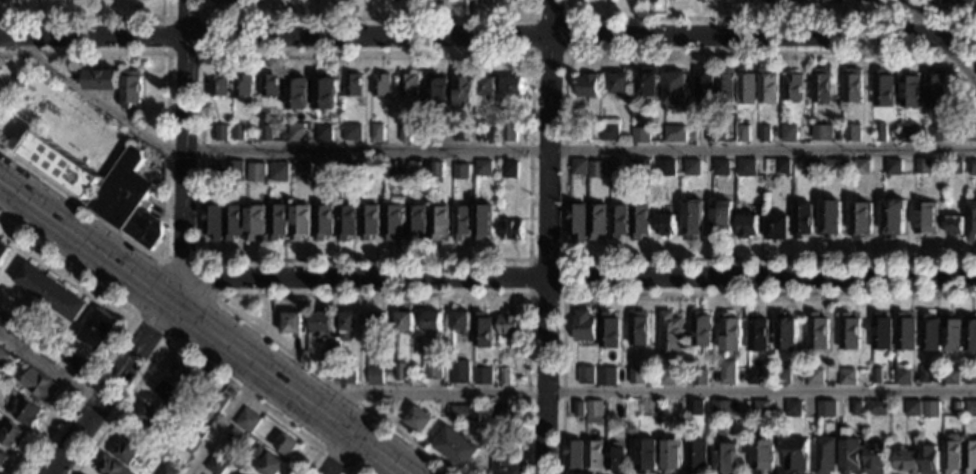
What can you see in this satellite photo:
building: (2, 0)
building: (215, 0)
building: (702, 0)
building: (766, 0)
building: (801, 0)
building: (870, 0)
building: (347, 1)
building: (828, 1)
building: (933, 6)
building: (963, 6)
road: (762, 16)
road: (92, 17)
road: (366, 18)
road: (488, 35)
road: (944, 37)
road: (566, 50)
road: (531, 51)
road: (201, 53)
building: (103, 79)
building: (648, 83)
building: (219, 84)
building: (354, 84)
building: (382, 84)
building: (620, 84)
building: (703, 84)
building: (725, 84)
building: (243, 85)
building: (271, 85)
building: (410, 85)
building: (587, 86)
building: (821, 86)
building: (852, 86)
building: (487, 87)
building: (513, 87)
building: (746, 87)
building: (767, 87)
building: (792, 87)
building: (130, 88)
building: (675, 89)
building: (883, 89)
building: (464, 90)
building: (936, 91)
building: (298, 92)
building: (438, 92)
building: (910, 92)
building: (326, 93)
building: (134, 118)
building: (296, 132)
building: (494, 132)
building: (610, 132)
building: (221, 133)
building: (239, 133)
building: (267, 133)
building: (324, 133)
building: (355, 133)
building: (379, 133)
building: (406, 133)
building: (436, 133)
building: (463, 133)
building: (820, 133)
building: (934, 133)
building: (509, 134)
building: (675, 134)
building: (729, 134)
building: (743, 134)
building: (763, 134)
building: (788, 134)
building: (852, 134)
building: (880, 134)
building: (908, 134)
building: (582, 135)
building: (641, 135)
building: (895, 135)
building: (710, 136)
road: (181, 146)
road: (479, 150)
road: (564, 156)
building: (61, 165)
building: (922, 166)
building: (953, 166)
building: (580, 167)
building: (617, 167)
building: (692, 167)
building: (780, 167)
building: (829, 167)
building: (860, 167)
building: (218, 168)
building: (485, 168)
building: (637, 168)
building: (663, 168)
building: (721, 168)
building: (745, 168)
building: (810, 168)
building: (892, 168)
building: (934, 168)
building: (971, 168)
building: (369, 169)
building: (392, 169)
building: (302, 170)
building: (348, 170)
building: (415, 170)
building: (438, 170)
building: (511, 170)
building: (597, 170)
building: (234, 171)
building: (256, 172)
building: (463, 172)
building: (280, 173)
building: (327, 173)
road: (165, 174)
building: (128, 200)
building: (693, 218)
building: (893, 218)
building: (925, 218)
building: (721, 219)
building: (829, 219)
building: (801, 220)
building: (860, 220)
building: (213, 221)
building: (234, 221)
building: (279, 221)
building: (325, 221)
building: (371, 221)
building: (394, 221)
building: (417, 221)
building: (484, 221)
building: (577, 221)
building: (598, 221)
building: (640, 221)
building: (970, 221)
building: (256, 222)
building: (302, 222)
building: (348, 222)
building: (440, 222)
building: (463, 222)
building: (619, 222)
building: (666, 225)
building: (954, 225)
building: (746, 226)
building: (776, 227)
building: (512, 230)
road: (550, 237)
building: (4, 250)
road: (183, 261)
road: (572, 278)
building: (51, 291)
road: (679, 293)
road: (311, 294)
road: (564, 294)
road: (212, 321)
building: (461, 321)
building: (378, 322)
building: (406, 322)
building: (433, 322)
building: (324, 323)
building: (294, 324)
road: (127, 325)
building: (350, 325)
building: (509, 325)
building: (584, 326)
building: (639, 329)
building: (100, 330)
building: (483, 330)
building: (608, 330)
building: (701, 330)
building: (817, 331)
building: (786, 332)
building: (848, 332)
building: (880, 332)
building: (904, 332)
building: (671, 333)
building: (730, 333)
building: (757, 333)
building: (928, 333)
building: (970, 333)
building: (951, 334)
road: (190, 351)
building: (3, 357)
building: (72, 360)
building: (331, 360)
road: (50, 364)
building: (182, 370)
building: (432, 371)
building: (375, 372)
building: (402, 372)
building: (461, 372)
building: (728, 373)
building: (350, 374)
building: (587, 374)
building: (878, 375)
building: (928, 375)
building: (483, 376)
building: (607, 376)
building: (637, 376)
building: (755, 376)
building: (969, 376)
building: (505, 377)
building: (668, 377)
building: (700, 377)
building: (782, 377)
building: (815, 377)
building: (847, 377)
building: (902, 377)
building: (950, 378)
road: (111, 383)
building: (39, 385)
building: (170, 392)
road: (640, 392)
building: (218, 401)
building: (695, 408)
building: (761, 408)
building: (826, 408)
building: (855, 408)
building: (876, 408)
building: (970, 408)
building: (579, 409)
building: (793, 409)
building: (912, 409)
building: (956, 409)
building: (721, 410)
building: (930, 410)
building: (26, 411)
building: (595, 412)
building: (500, 413)
building: (465, 414)
building: (150, 417)
road: (228, 418)
building: (248, 420)
building: (420, 420)
building: (199, 430)
building: (12, 436)
building: (632, 436)
building: (236, 437)
building: (189, 443)
building: (287, 445)
building: (457, 448)
road: (337, 449)
building: (127, 451)
building: (850, 453)
building: (951, 453)
building: (796, 455)
building: (826, 455)
building: (575, 456)
building: (595, 456)
building: (647, 456)
building: (672, 456)
building: (762, 456)
building: (969, 456)
building: (697, 457)
building: (875, 457)
road: (336, 458)
building: (3, 459)
building: (504, 459)
building: (616, 459)
building: (726, 459)
building: (930, 460)
building: (907, 461)
building: (269, 462)
building: (217, 464)
building: (112, 466)
road: (351, 469)
building: (168, 470)
building: (246, 473)

